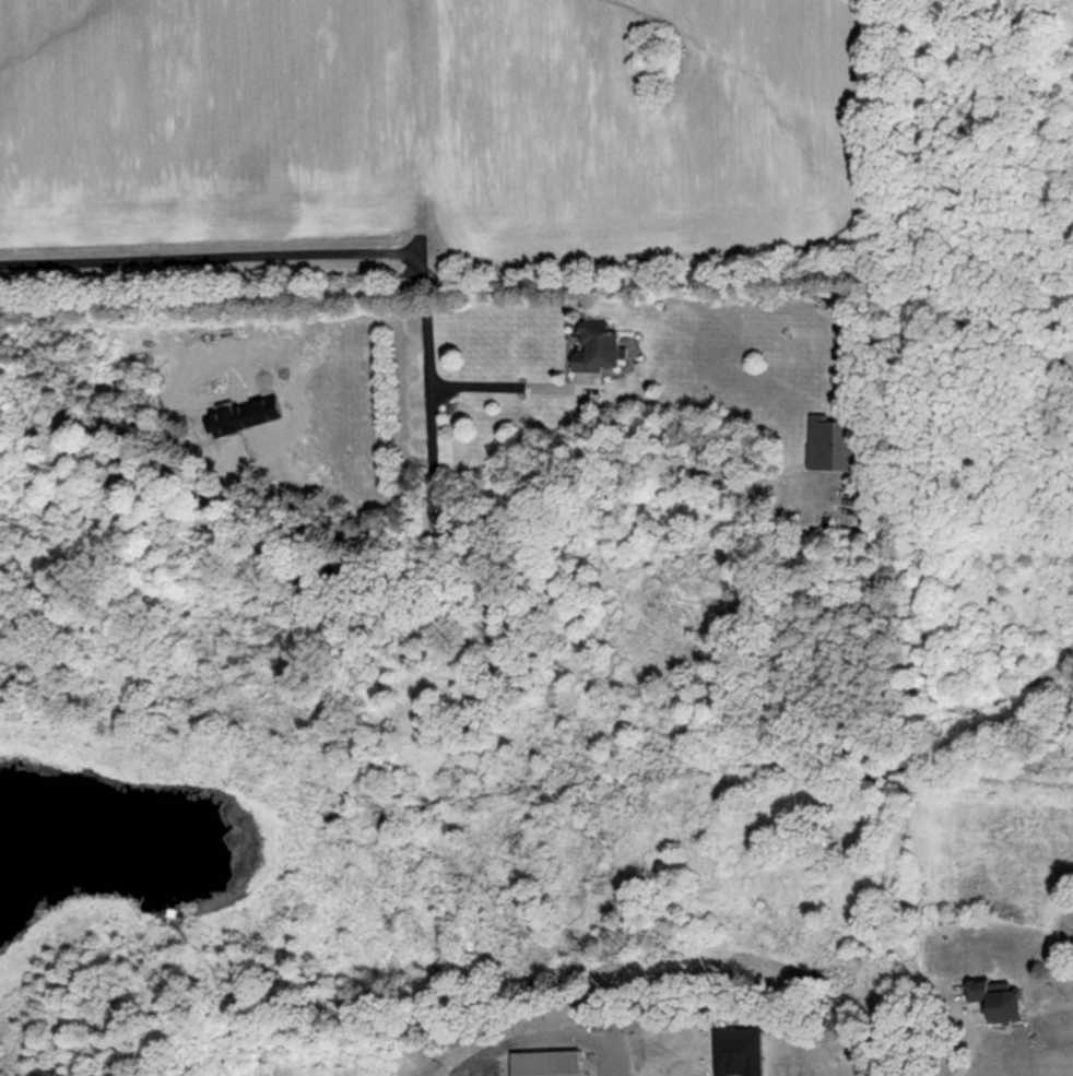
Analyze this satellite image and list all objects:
road: (315, 255)
building: (597, 348)
building: (830, 444)
building: (999, 998)
road: (544, 1033)
road: (971, 1041)
building: (739, 1051)
building: (545, 1061)

